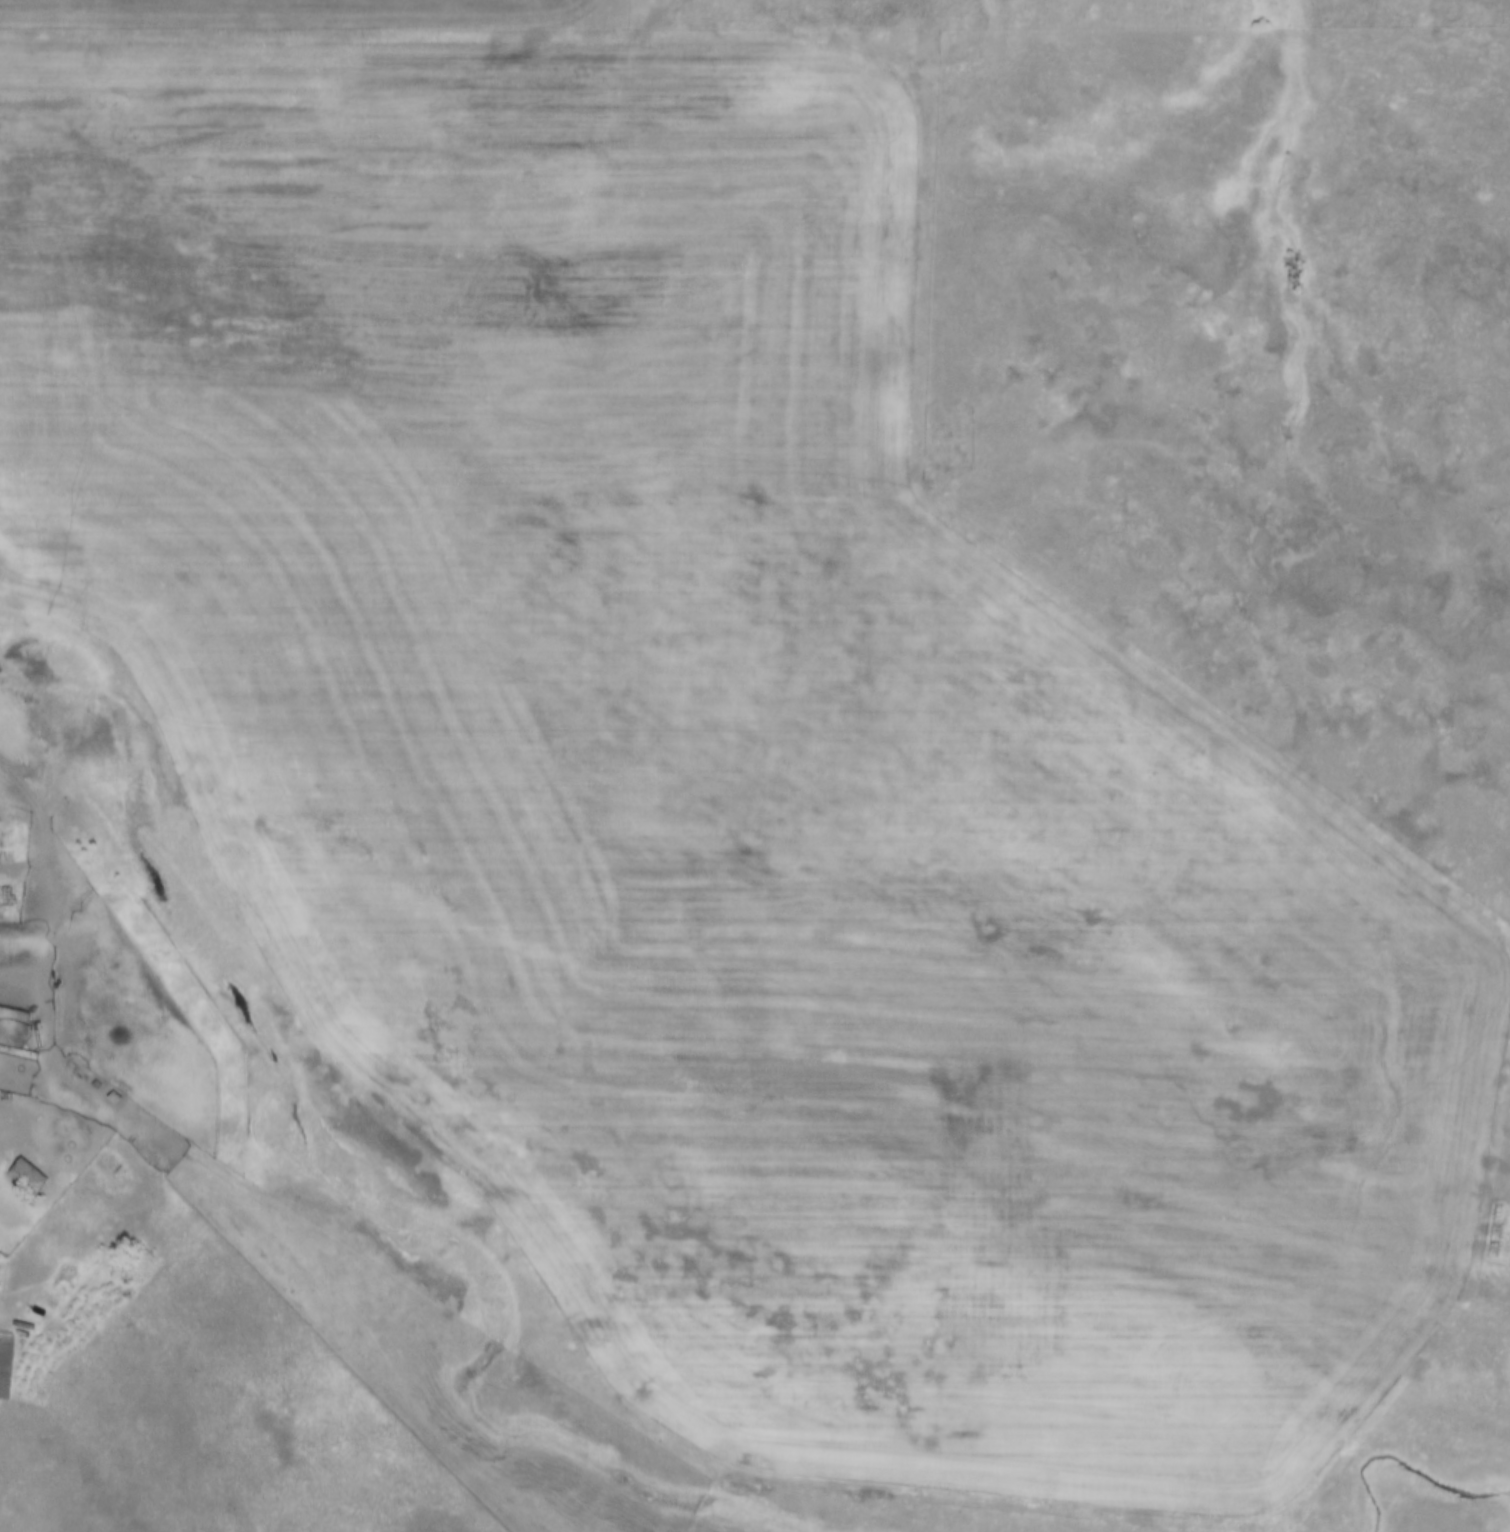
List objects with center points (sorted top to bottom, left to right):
building: (29, 1176)

